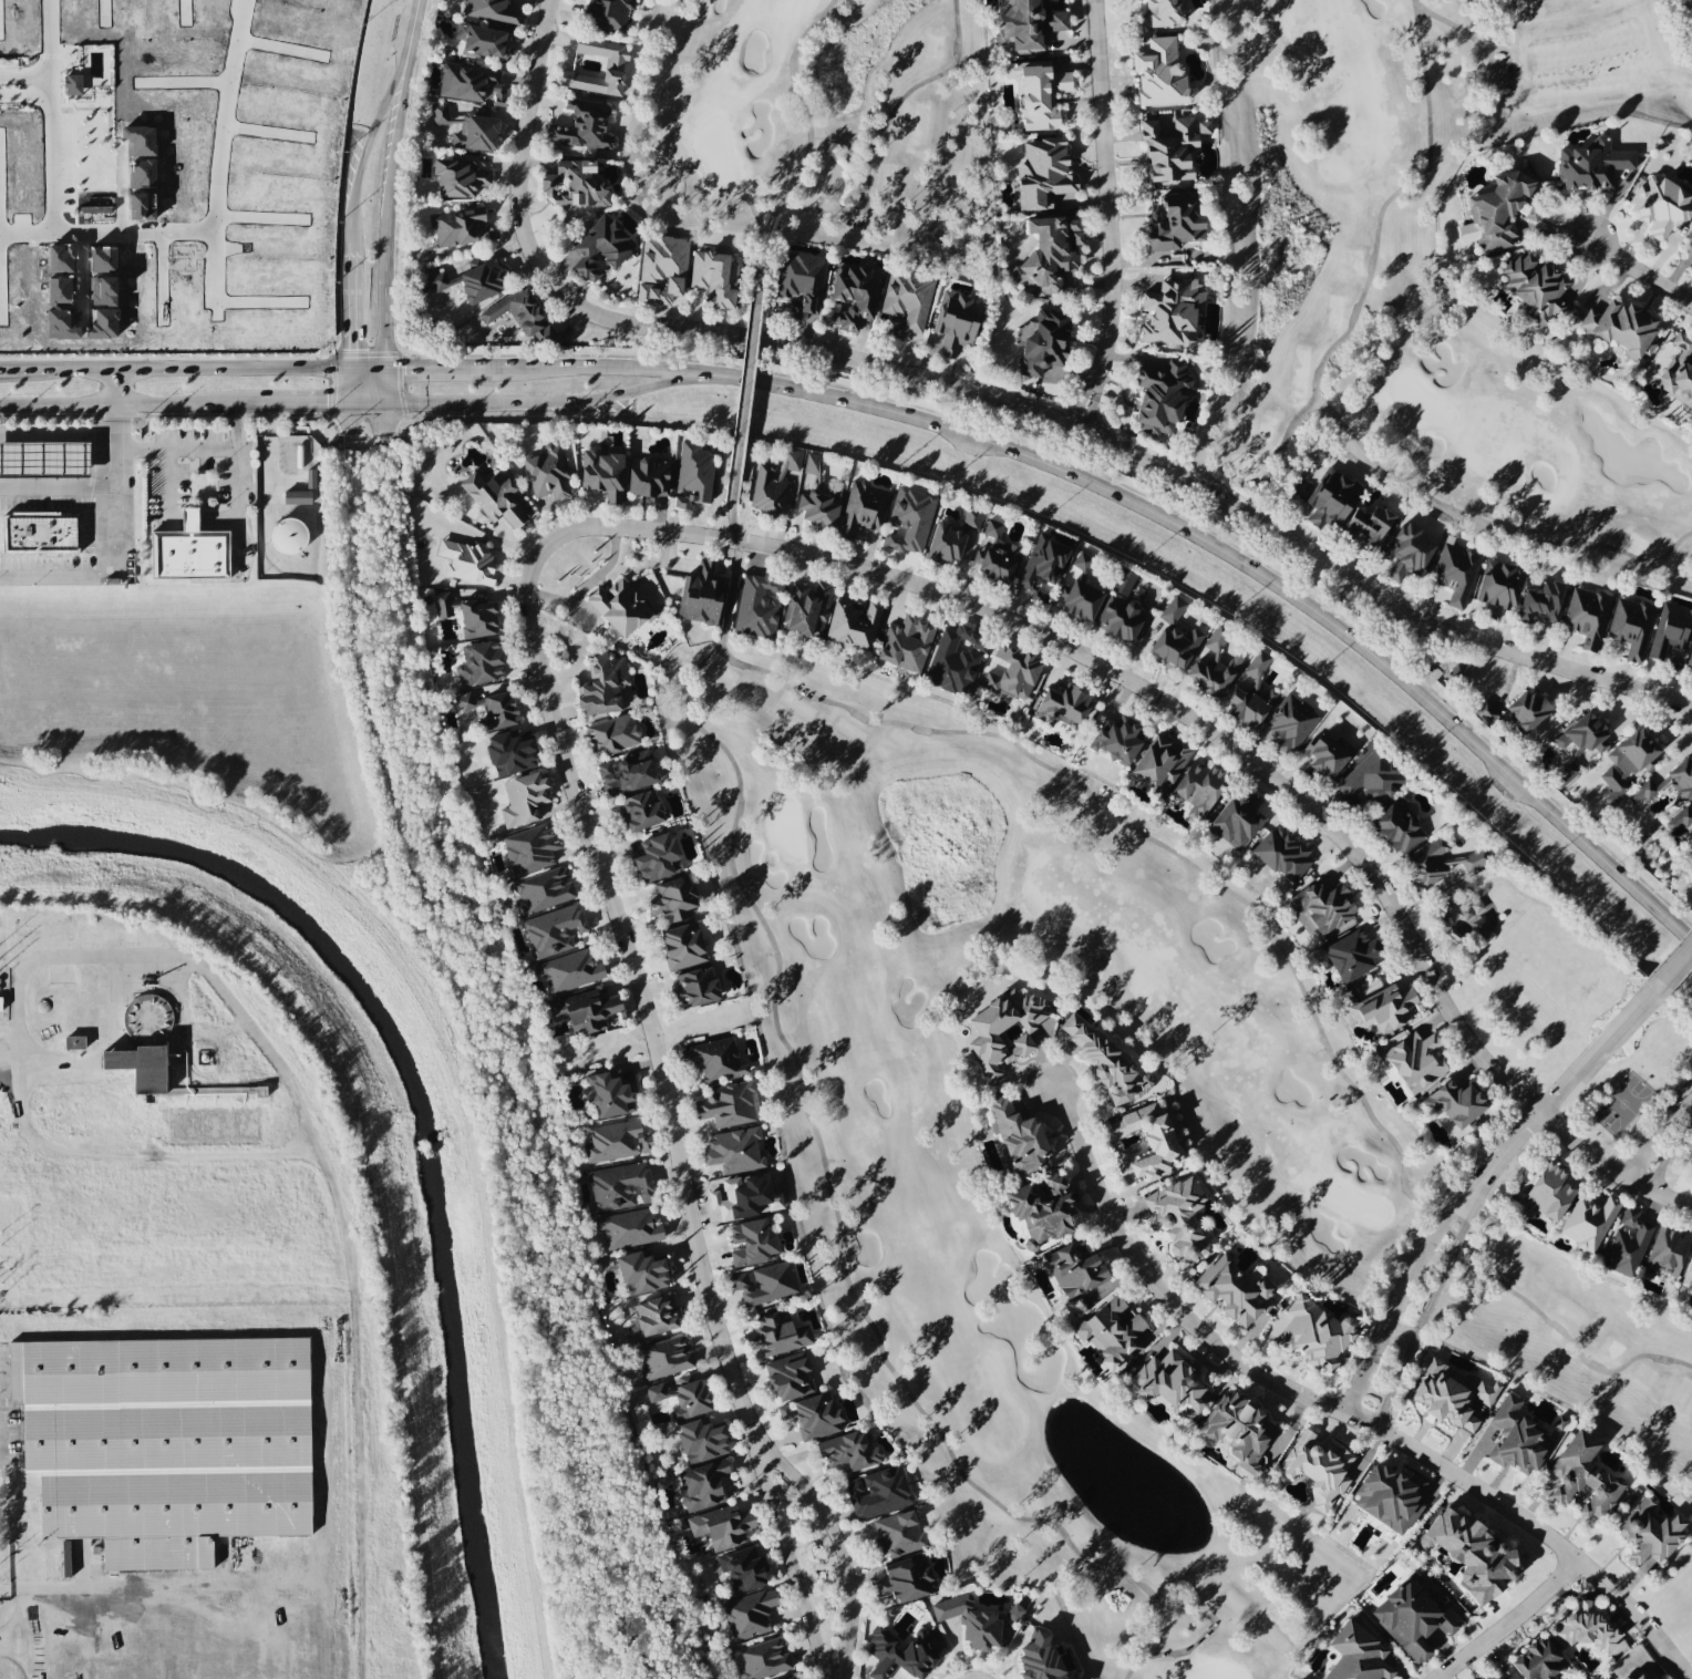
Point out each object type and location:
building: (492, 11)
building: (1165, 12)
road: (415, 14)
building: (608, 14)
building: (1026, 24)
building: (482, 41)
building: (616, 64)
building: (1159, 73)
building: (471, 84)
road: (29, 86)
road: (39, 86)
building: (1038, 93)
building: (442, 115)
road: (517, 120)
building: (584, 127)
building: (1203, 127)
building: (476, 134)
road: (368, 135)
building: (1169, 150)
building: (1592, 165)
building: (1044, 175)
building: (460, 176)
building: (575, 185)
building: (1661, 206)
building: (1498, 210)
building: (1534, 214)
road: (1103, 215)
road: (388, 216)
building: (1175, 223)
building: (456, 226)
building: (492, 231)
road: (133, 233)
road: (762, 234)
building: (601, 247)
building: (1691, 249)
building: (1048, 254)
building: (662, 269)
park: (1428, 270)
road: (1639, 271)
building: (714, 279)
building: (479, 281)
building: (436, 282)
building: (802, 284)
building: (1536, 288)
building: (855, 296)
building: (906, 302)
road: (349, 308)
building: (1170, 313)
building: (523, 317)
building: (956, 321)
building: (1621, 329)
building: (1042, 341)
traffic signals: (349, 349)
road: (365, 368)
traffic signals: (403, 368)
road: (3, 369)
building: (1679, 372)
road: (744, 373)
road: (349, 385)
road: (116, 387)
road: (627, 392)
building: (1160, 399)
road: (518, 403)
road: (130, 404)
road: (323, 404)
traffic signals: (327, 404)
road: (446, 404)
road: (58, 433)
road: (1112, 440)
road: (177, 450)
road: (268, 451)
building: (43, 460)
building: (813, 464)
building: (548, 473)
building: (602, 474)
building: (693, 475)
building: (648, 477)
building: (310, 478)
road: (116, 482)
road: (58, 484)
building: (774, 484)
road: (168, 485)
road: (238, 491)
building: (495, 495)
building: (297, 497)
building: (1331, 498)
building: (819, 507)
building: (864, 508)
building: (910, 519)
building: (971, 519)
road: (203, 521)
building: (1368, 526)
building: (41, 535)
building: (288, 536)
building: (946, 544)
building: (1406, 552)
building: (188, 554)
building: (995, 556)
building: (467, 562)
building: (1082, 563)
building: (1042, 564)
road: (1244, 565)
building: (1455, 573)
road: (62, 575)
road: (732, 578)
building: (1125, 583)
building: (1498, 587)
building: (701, 595)
building: (1080, 600)
building: (443, 601)
building: (1540, 602)
building: (757, 606)
building: (620, 608)
building: (807, 609)
building: (1173, 610)
building: (1587, 616)
building: (477, 619)
building: (1120, 619)
building: (853, 624)
building: (1631, 627)
building: (1671, 630)
building: (906, 643)
building: (1175, 648)
building: (955, 660)
building: (1690, 661)
building: (481, 663)
building: (1215, 666)
building: (1013, 673)
building: (602, 684)
building: (1251, 694)
building: (1062, 707)
building: (491, 710)
building: (1527, 710)
building: (1485, 712)
road: (1179, 718)
building: (1290, 723)
building: (613, 734)
building: (1116, 740)
building: (1578, 745)
building: (509, 754)
building: (1327, 755)
building: (1160, 763)
building: (1628, 763)
building: (627, 773)
building: (1372, 779)
building: (1681, 779)
building: (1198, 789)
building: (1642, 792)
building: (524, 799)
building: (640, 812)
building: (1681, 818)
building: (1237, 821)
building: (1397, 827)
building: (530, 848)
building: (1282, 855)
building: (658, 858)
building: (1442, 862)
building: (543, 890)
building: (673, 902)
building: (1322, 908)
building: (553, 930)
road: (1682, 931)
building: (682, 946)
building: (1352, 955)
park: (1030, 967)
road: (1671, 967)
building: (569, 972)
building: (695, 988)
building: (0, 1003)
building: (1384, 1009)
building: (585, 1011)
building: (1007, 1031)
road: (262, 1039)
building: (74, 1042)
road: (49, 1061)
building: (714, 1061)
building: (1415, 1062)
building: (1106, 1063)
building: (140, 1068)
road: (1567, 1081)
road: (1691, 1085)
road: (1680, 1093)
building: (611, 1094)
road: (1686, 1098)
building: (1454, 1103)
building: (729, 1105)
road: (1663, 1112)
road: (1671, 1117)
road: (671, 1132)
river: (409, 1135)
building: (1017, 1137)
building: (617, 1142)
building: (1160, 1144)
building: (735, 1151)
road: (1642, 1152)
road: (1668, 1153)
building: (619, 1186)
building: (1547, 1194)
building: (1042, 1209)
building: (1178, 1219)
building: (1588, 1223)
building: (628, 1229)
building: (752, 1243)
building: (1628, 1243)
building: (1668, 1250)
building: (1074, 1269)
road: (1411, 1270)
building: (1688, 1273)
building: (641, 1274)
building: (764, 1284)
road: (1437, 1285)
building: (1235, 1291)
building: (653, 1318)
road: (1400, 1330)
building: (1112, 1333)
building: (777, 1335)
building: (664, 1358)
building: (788, 1377)
building: (1169, 1383)
road: (1373, 1390)
building: (1451, 1394)
building: (682, 1395)
road: (1350, 1398)
road: (358, 1401)
road: (1328, 1407)
building: (784, 1412)
road: (1381, 1412)
building: (816, 1417)
building: (1238, 1430)
building: (1517, 1440)
building: (701, 1441)
building: (162, 1445)
building: (848, 1452)
building: (1318, 1470)
building: (1582, 1477)
building: (702, 1485)
building: (877, 1492)
building: (1390, 1497)
road: (824, 1520)
building: (722, 1526)
building: (1648, 1533)
building: (898, 1534)
building: (1472, 1555)
road: (238, 1565)
building: (742, 1569)
building: (905, 1580)
road: (81, 1587)
road: (249, 1595)
building: (1013, 1613)
building: (749, 1615)
road: (278, 1618)
road: (1503, 1619)
building: (971, 1623)
building: (1583, 1627)
road: (162, 1632)
road: (37, 1634)
building: (901, 1654)
building: (1356, 1655)
building: (762, 1659)
building: (1040, 1659)
building: (1538, 1661)
building: (1636, 1676)
building: (1495, 1677)
building: (1651, 1677)
building: (792, 1678)

